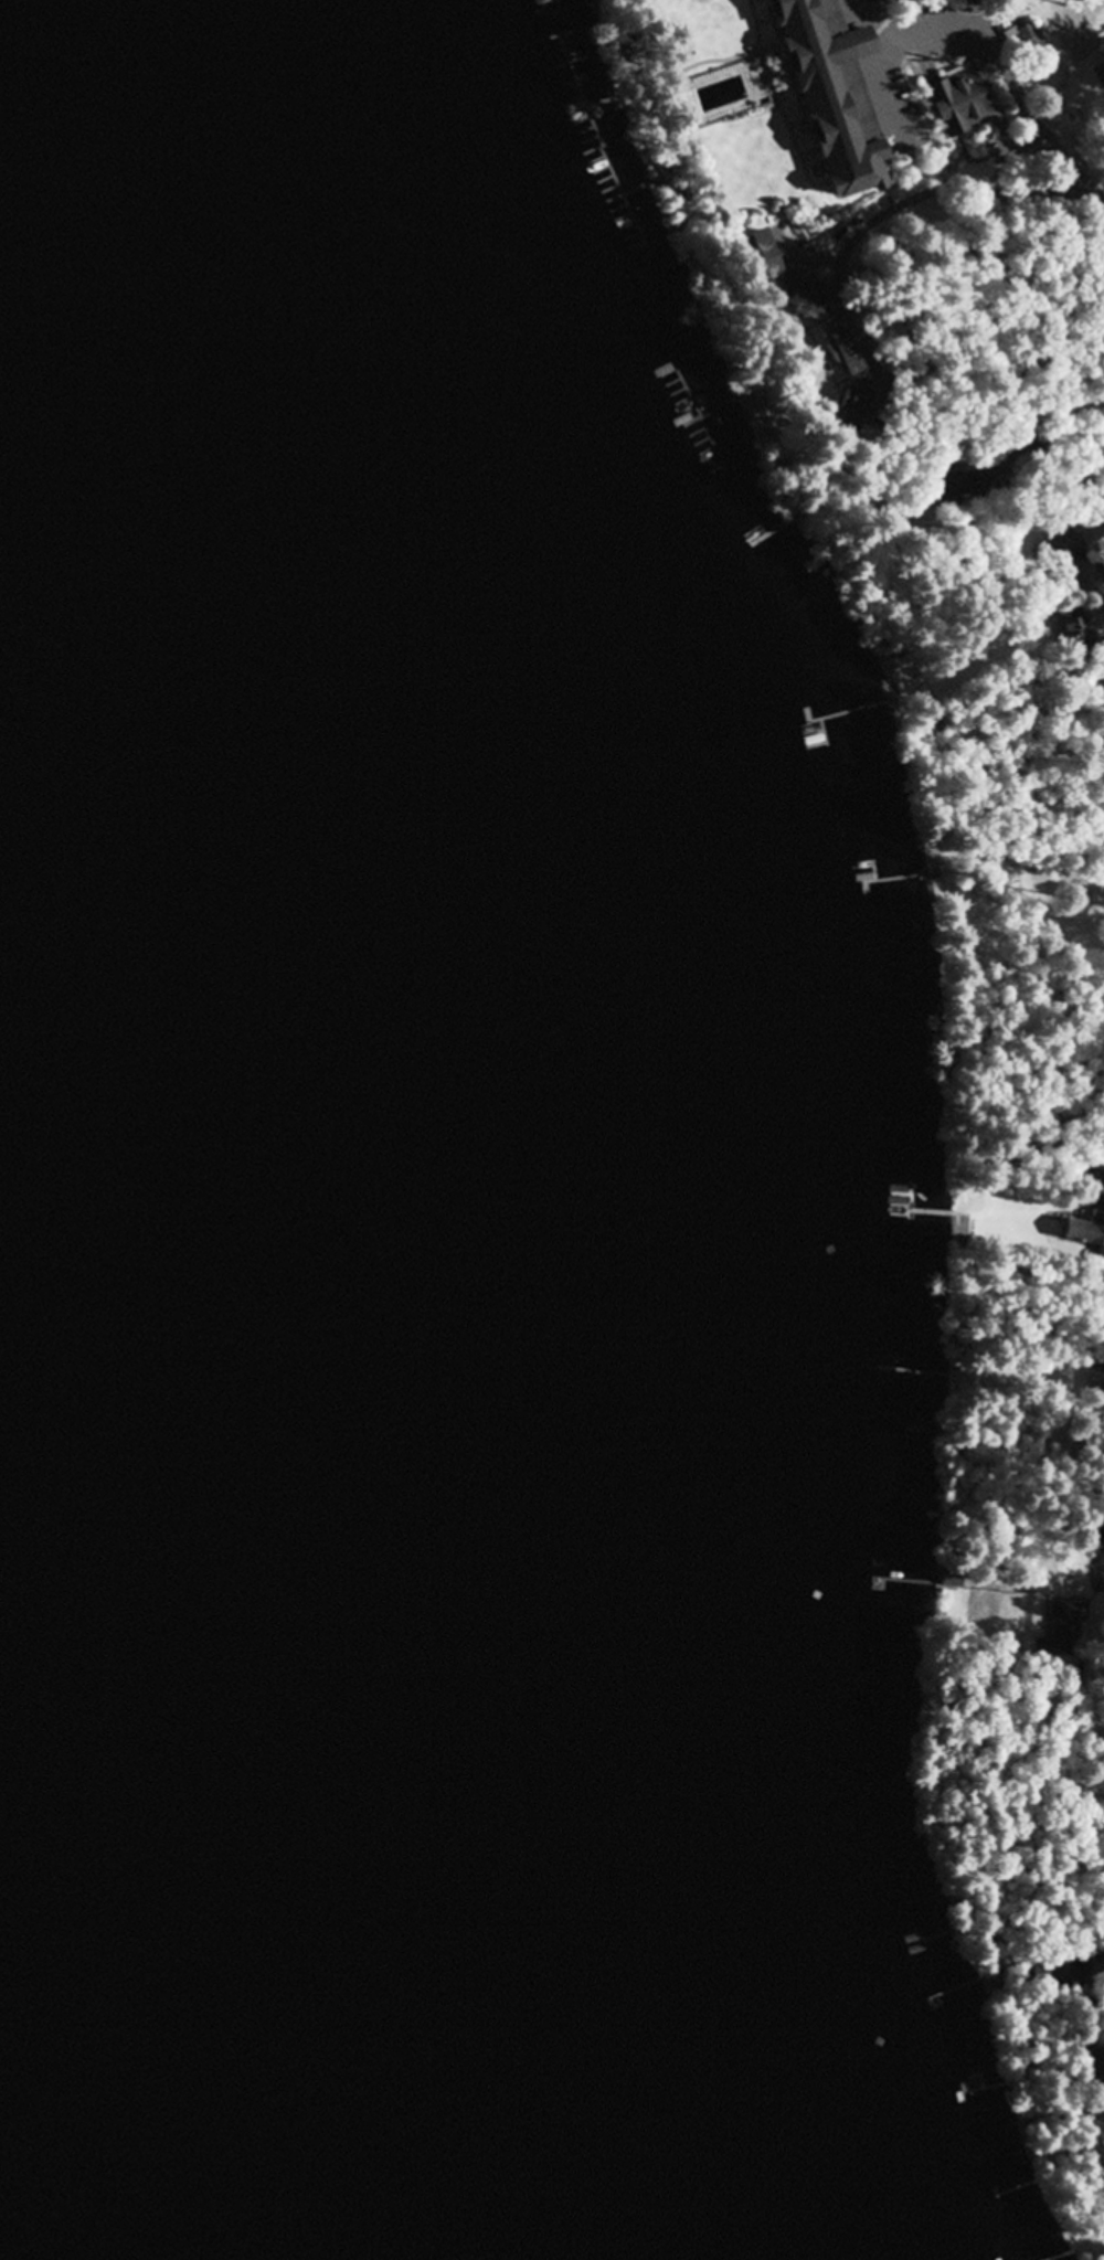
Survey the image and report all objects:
building: (988, 0)
park: (1071, 31)
building: (715, 36)
building: (1016, 42)
building: (821, 88)
building: (948, 100)
road: (1027, 123)
building: (796, 306)
building: (847, 405)
building: (959, 486)
building: (1059, 561)
building: (1073, 630)
building: (1086, 1221)
building: (1097, 1393)
building: (1093, 1536)
building: (1053, 1971)

